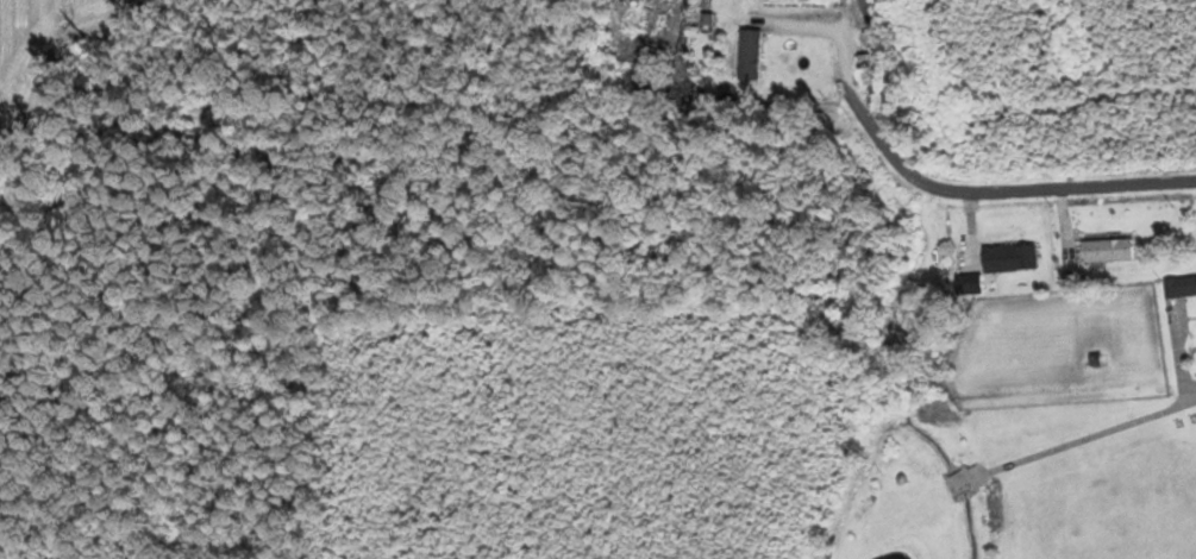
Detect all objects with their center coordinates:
building: (863, 10)
building: (747, 55)
road: (990, 191)
building: (901, 246)
building: (1106, 249)
building: (1007, 257)
building: (1177, 287)
road: (1186, 381)

